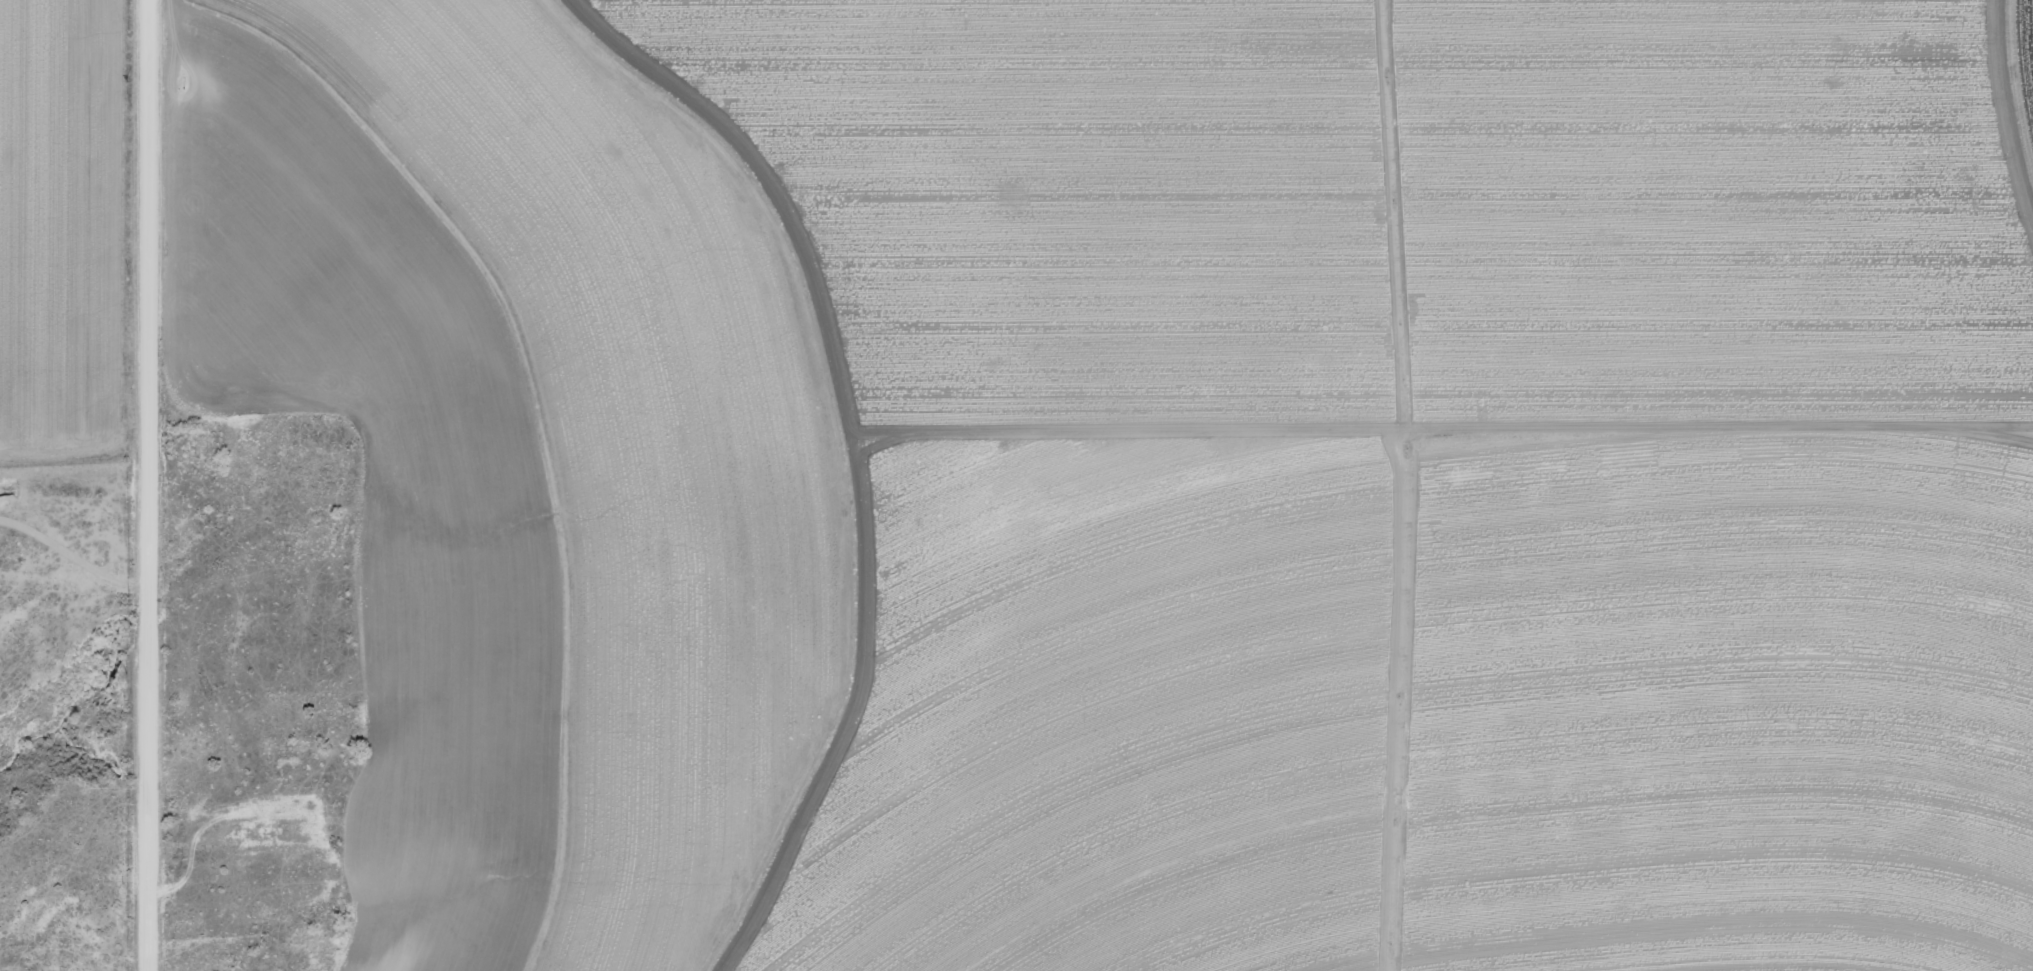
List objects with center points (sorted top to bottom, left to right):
road: (119, 485)

